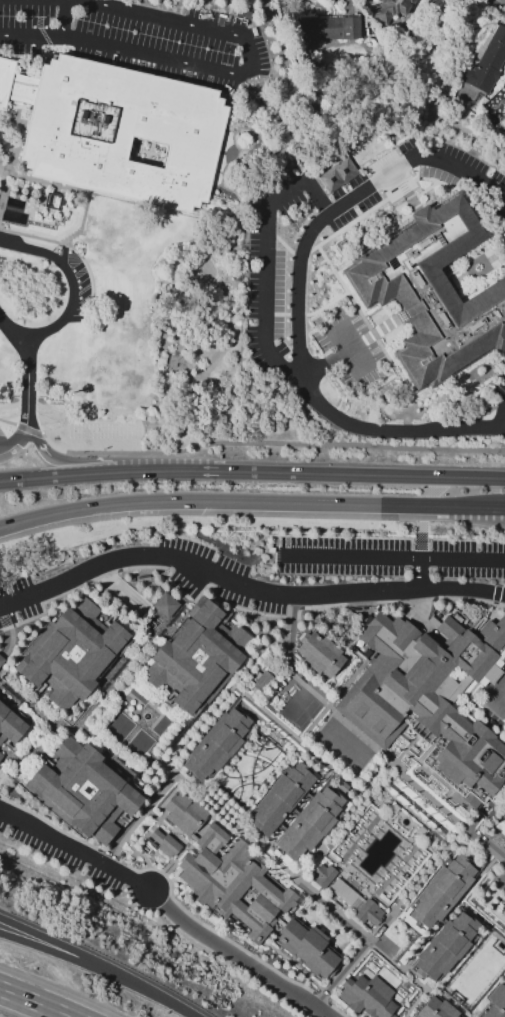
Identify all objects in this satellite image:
building: (391, 9)
road: (65, 19)
building: (322, 32)
building: (486, 62)
road: (230, 77)
building: (118, 132)
building: (337, 174)
parking lot: (335, 222)
road: (267, 269)
road: (72, 284)
road: (296, 290)
building: (434, 292)
road: (14, 336)
parking lot: (352, 352)
road: (330, 363)
parking lot: (501, 388)
road: (28, 393)
road: (503, 422)
road: (504, 431)
road: (41, 444)
road: (17, 445)
road: (111, 459)
road: (110, 473)
road: (363, 476)
road: (251, 502)
road: (390, 558)
road: (419, 575)
road: (245, 587)
building: (164, 605)
building: (447, 628)
building: (493, 633)
building: (71, 653)
building: (319, 655)
building: (197, 659)
building: (1, 660)
building: (262, 681)
road: (498, 696)
building: (423, 699)
building: (9, 724)
building: (217, 744)
road: (368, 744)
road: (182, 746)
building: (1, 756)
building: (82, 791)
building: (279, 798)
building: (184, 813)
building: (504, 819)
building: (309, 824)
building: (212, 838)
building: (164, 843)
road: (77, 851)
building: (324, 875)
building: (441, 891)
building: (345, 895)
building: (503, 904)
road: (333, 911)
building: (369, 913)
building: (503, 913)
road: (60, 945)
building: (307, 947)
building: (445, 947)
road: (59, 954)
road: (236, 957)
road: (351, 959)
road: (154, 996)
building: (367, 996)
road: (35, 1002)
building: (495, 1003)
building: (436, 1009)

